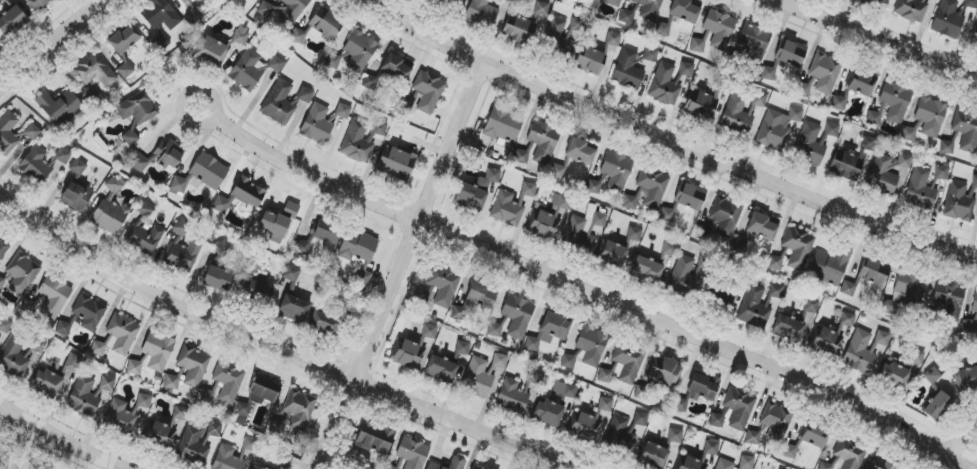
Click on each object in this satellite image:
building: (5, 0)
building: (255, 0)
building: (183, 1)
building: (867, 1)
building: (455, 2)
building: (610, 2)
building: (39, 4)
building: (971, 4)
building: (542, 8)
building: (649, 9)
building: (685, 10)
building: (911, 10)
building: (482, 12)
building: (161, 15)
building: (285, 15)
building: (626, 16)
building: (948, 19)
building: (12, 21)
building: (326, 22)
building: (554, 29)
building: (662, 29)
building: (719, 29)
building: (519, 30)
building: (241, 34)
building: (571, 35)
building: (974, 37)
building: (124, 39)
building: (613, 39)
building: (753, 40)
road: (872, 42)
road: (48, 43)
building: (163, 43)
building: (697, 45)
building: (360, 50)
building: (212, 52)
building: (791, 54)
building: (333, 61)
building: (590, 61)
building: (396, 67)
building: (252, 69)
building: (686, 69)
building: (126, 70)
building: (628, 70)
building: (95, 71)
building: (769, 74)
building: (821, 75)
building: (369, 82)
building: (862, 83)
building: (664, 85)
building: (428, 91)
building: (284, 101)
building: (895, 101)
building: (839, 103)
building: (699, 104)
building: (59, 106)
building: (137, 108)
building: (343, 111)
building: (741, 112)
building: (796, 115)
building: (930, 116)
building: (873, 118)
building: (503, 124)
building: (317, 125)
building: (774, 130)
building: (966, 130)
building: (30, 133)
building: (909, 134)
building: (129, 138)
building: (363, 139)
building: (544, 141)
road: (668, 141)
building: (814, 141)
building: (869, 143)
building: (946, 147)
building: (581, 152)
building: (167, 155)
building: (63, 156)
building: (521, 156)
building: (396, 162)
building: (139, 163)
building: (36, 165)
building: (846, 165)
building: (77, 167)
building: (616, 170)
building: (558, 171)
building: (887, 171)
building: (941, 172)
building: (201, 175)
building: (974, 182)
building: (653, 186)
building: (593, 187)
building: (921, 188)
building: (529, 189)
building: (477, 190)
building: (76, 196)
building: (240, 196)
building: (690, 196)
building: (630, 202)
building: (958, 203)
building: (110, 209)
building: (508, 209)
building: (291, 210)
building: (667, 214)
building: (725, 216)
building: (548, 217)
building: (274, 226)
building: (763, 226)
building: (583, 229)
building: (145, 231)
building: (634, 234)
building: (797, 246)
building: (3, 249)
building: (222, 249)
building: (669, 249)
building: (182, 250)
building: (359, 252)
building: (612, 252)
building: (775, 262)
road: (398, 266)
building: (830, 266)
building: (647, 270)
building: (874, 272)
building: (22, 273)
building: (291, 275)
building: (683, 278)
building: (218, 279)
building: (2, 283)
building: (444, 285)
building: (848, 288)
road: (584, 290)
building: (256, 291)
building: (905, 291)
building: (54, 296)
building: (949, 300)
building: (474, 302)
building: (975, 302)
building: (757, 305)
building: (811, 306)
building: (294, 308)
building: (89, 312)
building: (518, 316)
building: (847, 319)
building: (324, 323)
building: (5, 325)
building: (970, 325)
building: (63, 328)
building: (788, 328)
building: (495, 330)
building: (550, 331)
building: (117, 336)
building: (826, 339)
road: (276, 345)
building: (592, 345)
building: (412, 348)
building: (864, 349)
building: (461, 351)
building: (20, 353)
building: (153, 354)
building: (568, 361)
building: (628, 362)
building: (72, 363)
building: (193, 365)
building: (442, 369)
building: (901, 369)
building: (665, 371)
building: (483, 374)
building: (534, 376)
building: (932, 376)
building: (966, 378)
building: (228, 380)
building: (172, 382)
building: (46, 383)
building: (107, 384)
building: (266, 388)
building: (565, 389)
building: (698, 391)
building: (206, 396)
building: (512, 396)
building: (83, 397)
building: (605, 404)
building: (937, 405)
building: (739, 407)
building: (299, 408)
building: (125, 413)
building: (180, 413)
building: (241, 413)
building: (548, 413)
building: (641, 419)
building: (716, 420)
building: (770, 423)
building: (278, 426)
building: (584, 426)
building: (163, 432)
building: (620, 434)
road: (961, 436)
road: (61, 438)
building: (375, 438)
building: (198, 440)
building: (807, 440)
building: (250, 444)
building: (711, 447)
building: (660, 450)
building: (413, 453)
park: (27, 454)
building: (850, 454)
building: (227, 459)
building: (284, 461)
building: (746, 462)
building: (457, 464)
building: (724, 464)
building: (884, 464)
building: (825, 466)
building: (390, 467)
building: (255, 468)
building: (475, 468)

